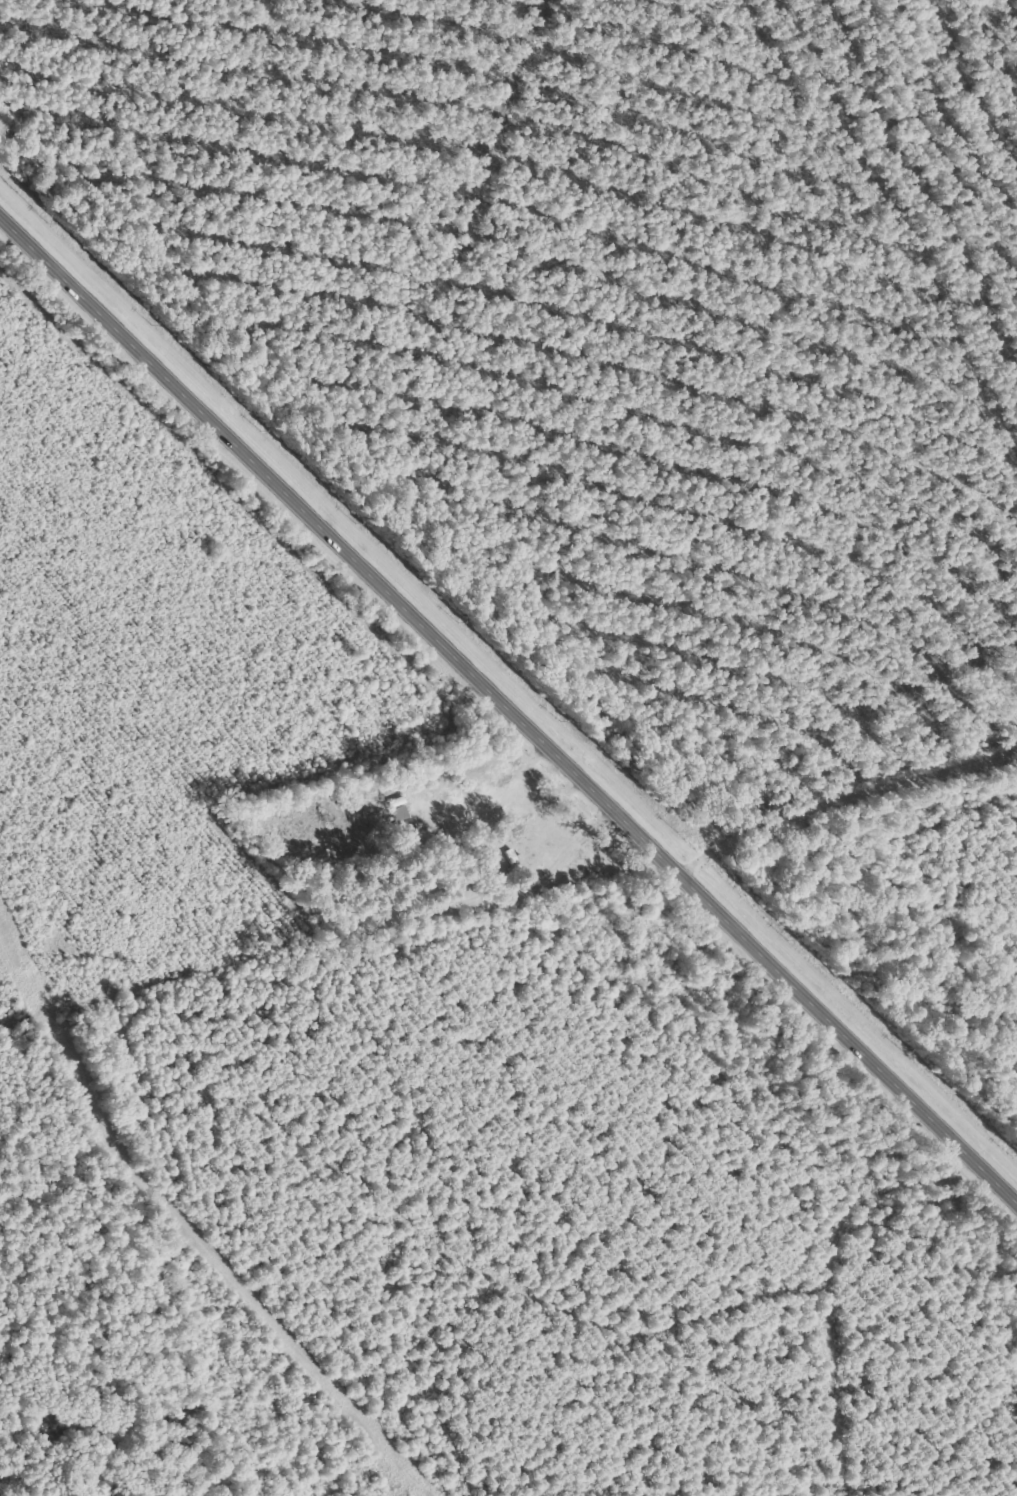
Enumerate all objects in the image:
road: (801, 242)
railway: (508, 675)
road: (508, 710)
building: (396, 815)
road: (840, 834)
building: (510, 857)

